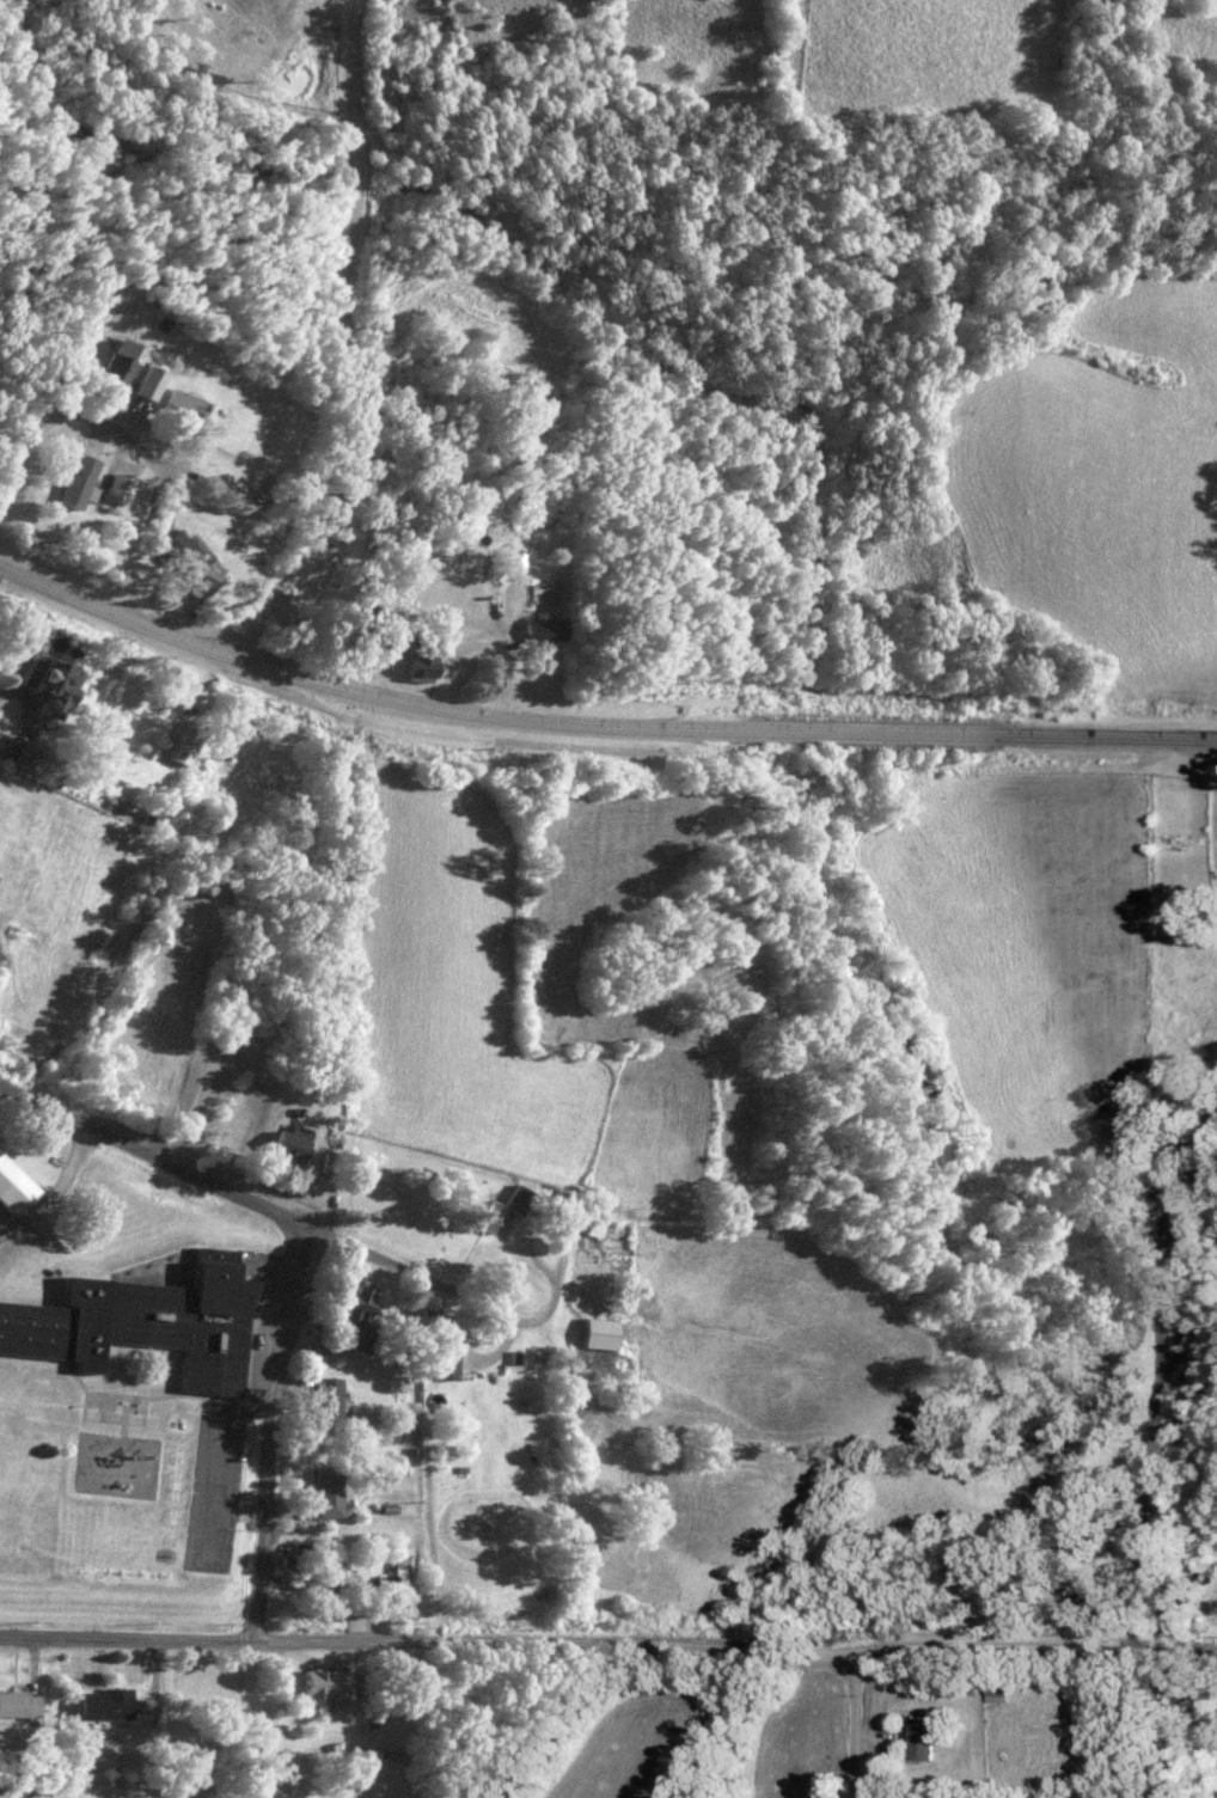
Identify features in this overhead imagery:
road: (350, 362)
building: (120, 365)
building: (181, 402)
road: (59, 417)
road: (166, 460)
road: (10, 476)
building: (85, 477)
building: (176, 545)
building: (546, 629)
building: (427, 659)
building: (60, 685)
road: (594, 730)
building: (186, 741)
building: (31, 754)
building: (291, 1146)
building: (328, 1163)
building: (16, 1186)
road: (252, 1200)
building: (360, 1305)
road: (289, 1319)
building: (148, 1320)
building: (603, 1333)
building: (448, 1365)
building: (328, 1390)
building: (328, 1492)
road: (267, 1523)
building: (398, 1584)
road: (608, 1634)
building: (329, 1686)
building: (20, 1704)
building: (106, 1704)
road: (849, 1720)
building: (928, 1739)

